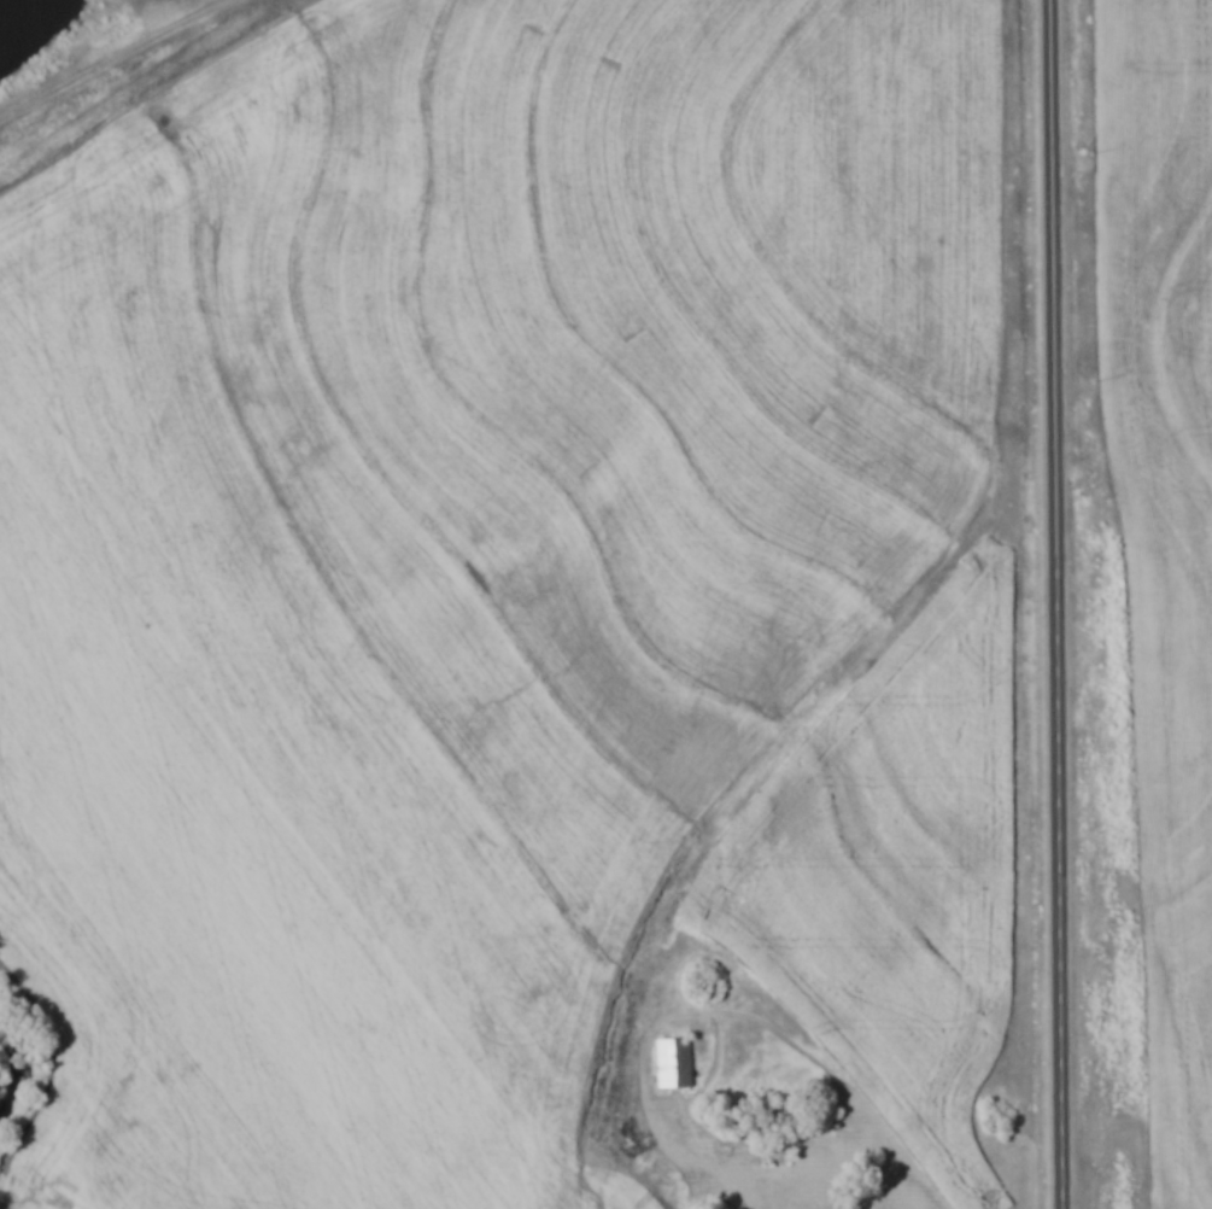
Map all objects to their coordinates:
dam: (111, 58)
road: (1058, 603)

